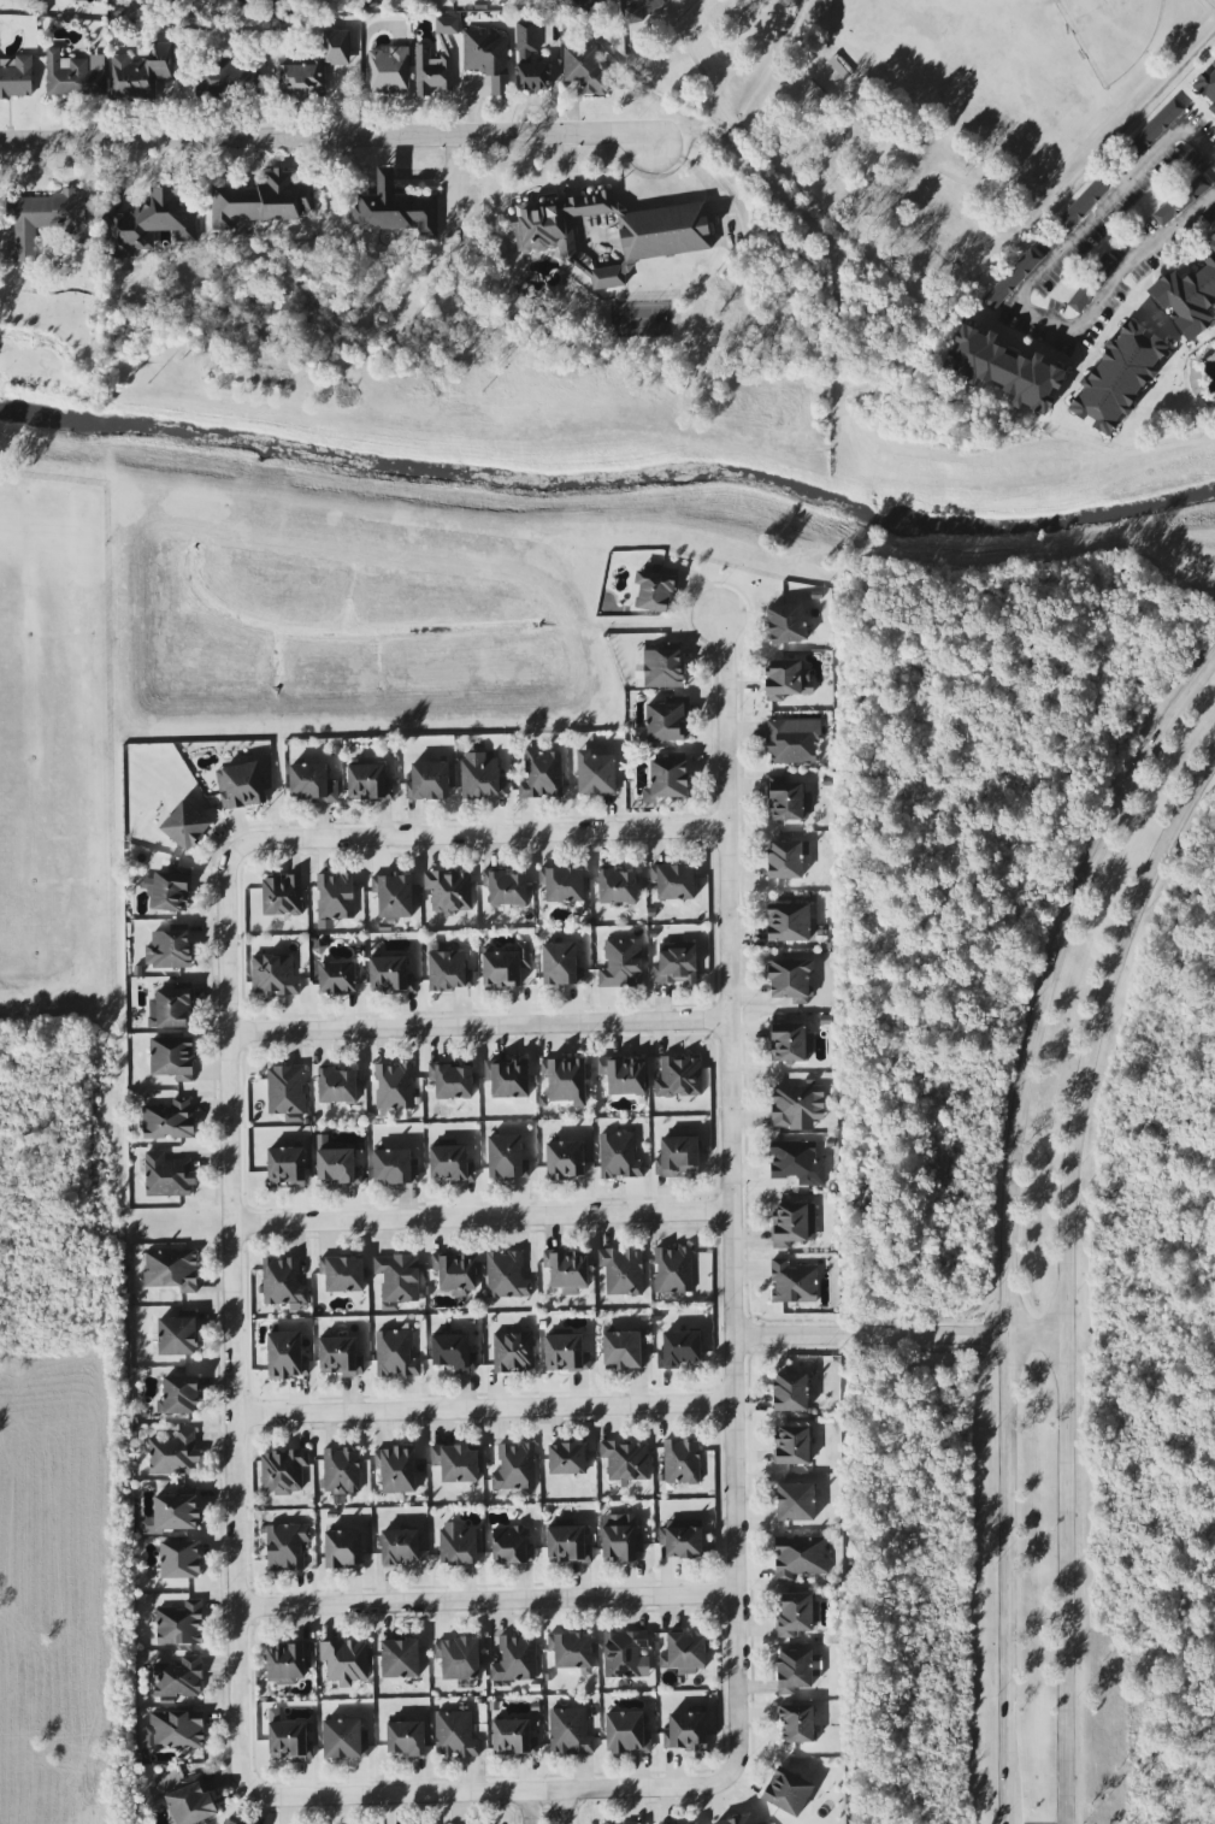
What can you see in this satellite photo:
building: (453, 1)
building: (594, 2)
building: (642, 10)
building: (447, 25)
building: (488, 57)
building: (530, 60)
building: (315, 66)
building: (585, 67)
building: (389, 70)
building: (432, 71)
building: (141, 72)
building: (75, 75)
building: (229, 76)
building: (16, 77)
building: (1208, 85)
building: (1154, 129)
road: (329, 135)
road: (912, 185)
building: (261, 200)
building: (1181, 201)
building: (1083, 205)
building: (395, 208)
building: (43, 223)
building: (151, 224)
building: (1010, 281)
building: (1091, 284)
road: (1020, 296)
building: (1189, 296)
park: (641, 318)
building: (1004, 370)
building: (1119, 377)
building: (654, 591)
building: (786, 624)
building: (659, 667)
building: (786, 679)
building: (667, 719)
building: (792, 739)
building: (542, 774)
building: (596, 774)
building: (482, 777)
building: (667, 780)
building: (427, 781)
building: (312, 783)
building: (368, 783)
building: (241, 785)
building: (789, 802)
building: (185, 826)
road: (480, 833)
building: (786, 860)
building: (673, 881)
building: (562, 884)
building: (618, 886)
building: (506, 889)
building: (169, 891)
building: (449, 891)
building: (282, 895)
building: (394, 895)
building: (789, 922)
building: (169, 950)
building: (621, 963)
building: (677, 963)
building: (561, 964)
building: (506, 966)
building: (449, 970)
building: (390, 974)
building: (273, 975)
building: (337, 978)
building: (790, 980)
building: (170, 1008)
road: (479, 1026)
building: (788, 1041)
building: (624, 1075)
building: (679, 1076)
building: (508, 1078)
building: (566, 1080)
building: (452, 1081)
building: (337, 1086)
building: (394, 1086)
building: (287, 1090)
building: (797, 1106)
building: (169, 1120)
building: (619, 1156)
building: (678, 1156)
building: (507, 1157)
building: (565, 1159)
building: (452, 1163)
building: (797, 1163)
building: (287, 1165)
building: (338, 1167)
building: (394, 1167)
building: (167, 1175)
road: (731, 1200)
road: (482, 1216)
road: (1010, 1217)
building: (794, 1223)
building: (171, 1269)
building: (673, 1269)
building: (568, 1270)
building: (456, 1271)
building: (623, 1271)
building: (343, 1273)
building: (507, 1275)
road: (1069, 1279)
building: (397, 1280)
building: (794, 1282)
building: (283, 1283)
road: (232, 1318)
road: (900, 1335)
building: (177, 1336)
building: (680, 1348)
building: (624, 1350)
building: (454, 1352)
building: (513, 1352)
building: (566, 1353)
building: (396, 1354)
building: (287, 1356)
building: (340, 1357)
building: (791, 1392)
building: (179, 1394)
road: (484, 1410)
building: (792, 1445)
building: (175, 1454)
building: (567, 1458)
building: (626, 1460)
building: (682, 1462)
building: (456, 1463)
building: (515, 1468)
building: (396, 1469)
building: (283, 1471)
building: (341, 1471)
building: (796, 1501)
building: (172, 1515)
building: (683, 1537)
building: (620, 1539)
building: (458, 1545)
building: (512, 1545)
building: (567, 1545)
building: (287, 1546)
building: (400, 1546)
building: (343, 1549)
building: (800, 1557)
building: (179, 1559)
road: (486, 1600)
building: (797, 1613)
building: (181, 1624)
building: (572, 1652)
building: (685, 1653)
building: (626, 1654)
building: (400, 1658)
building: (459, 1658)
building: (515, 1659)
building: (346, 1661)
building: (288, 1663)
building: (797, 1670)
building: (797, 1723)
building: (176, 1730)
building: (686, 1731)
building: (570, 1732)
building: (626, 1732)
building: (455, 1735)
building: (406, 1737)
building: (514, 1737)
building: (344, 1739)
building: (788, 1791)
road: (491, 1793)
building: (191, 1802)
road: (527, 1808)
road: (561, 1808)
building: (737, 1820)
building: (226, 1822)
building: (633, 1823)

